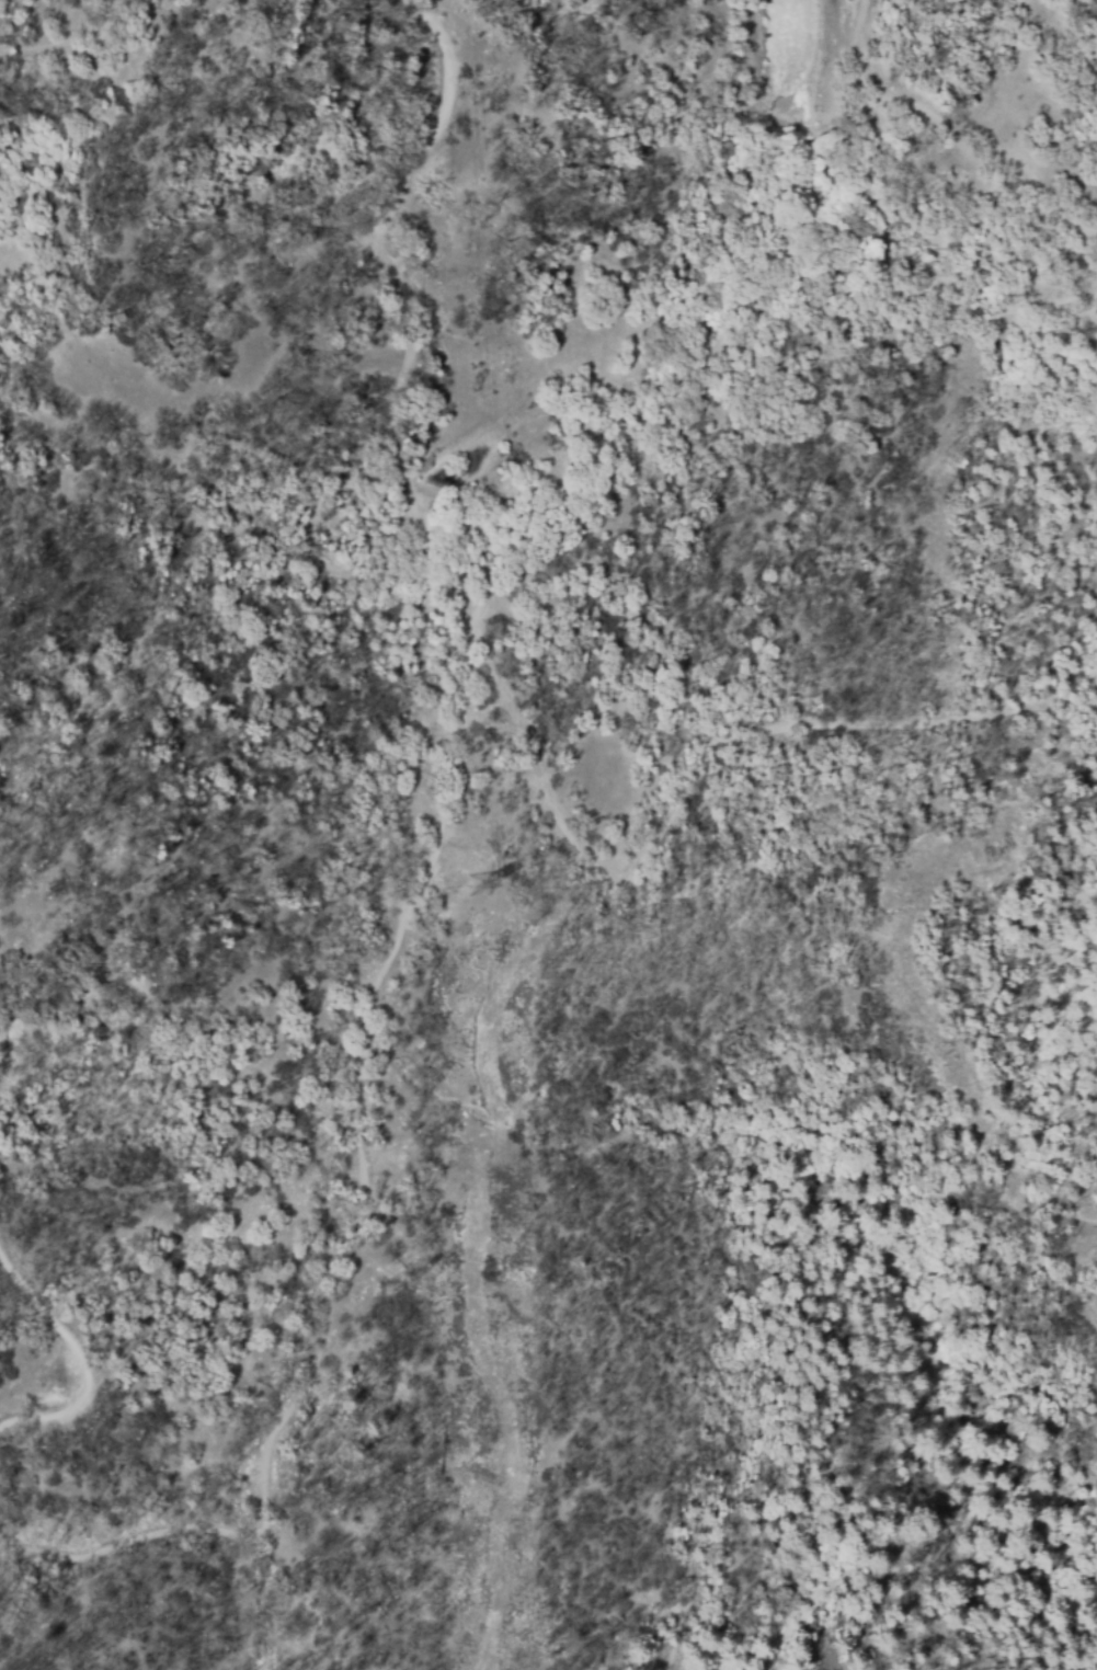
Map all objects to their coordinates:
power tower: (478, 890)

